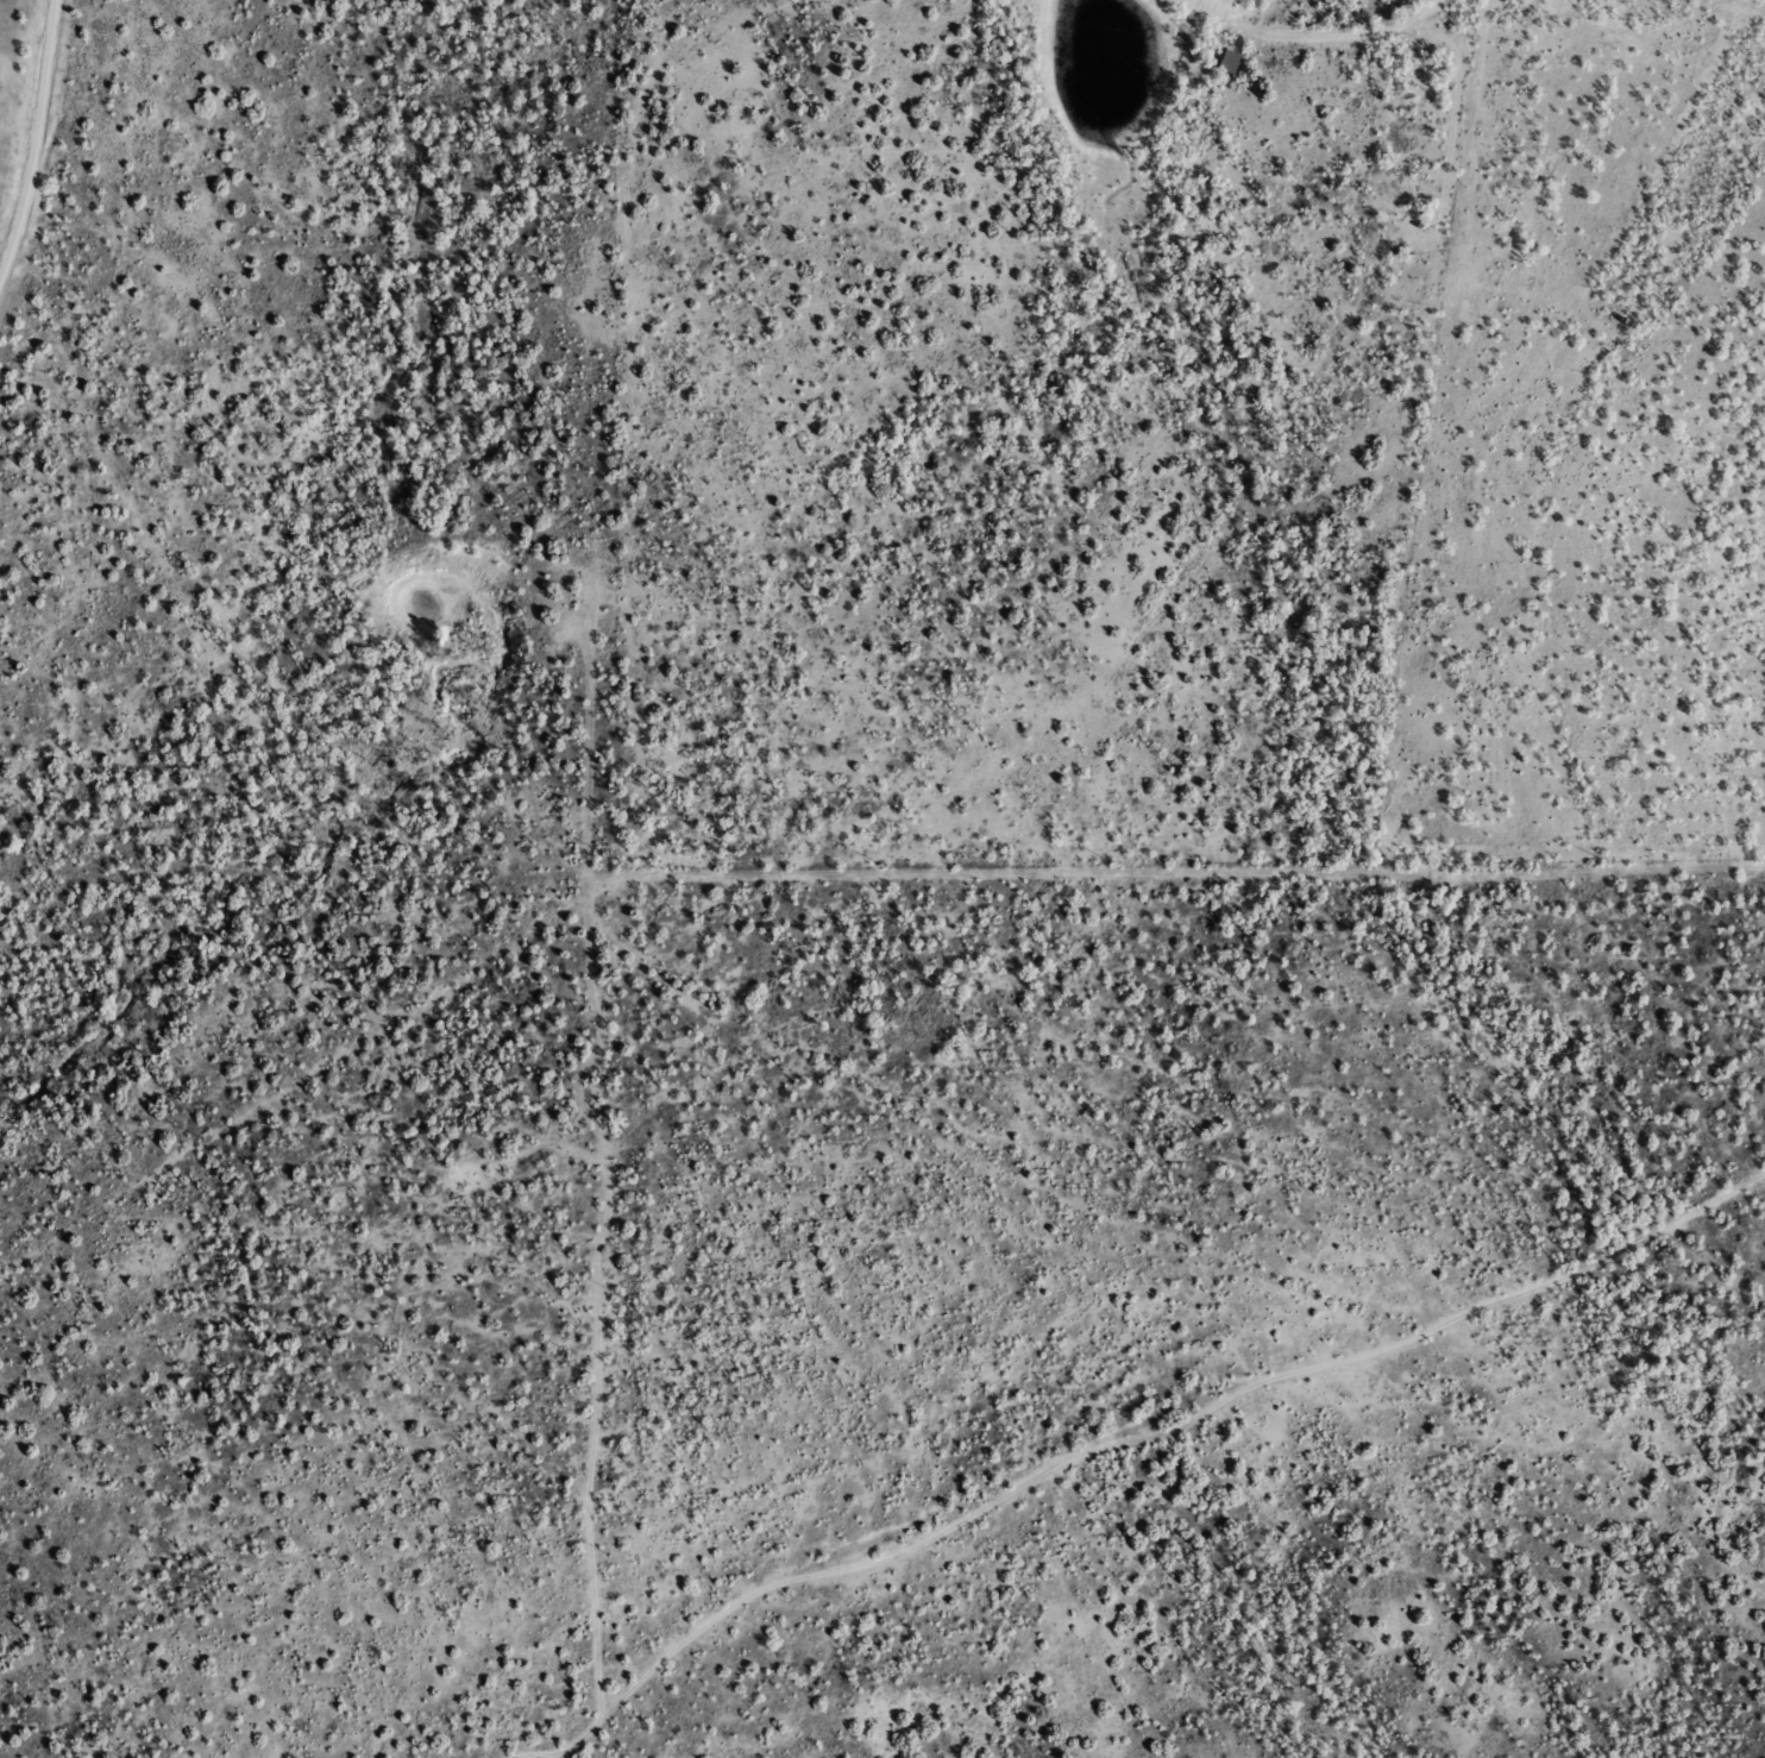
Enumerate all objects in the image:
building: (1233, 59)
road: (1482, 70)
road: (40, 147)
road: (1179, 1459)

